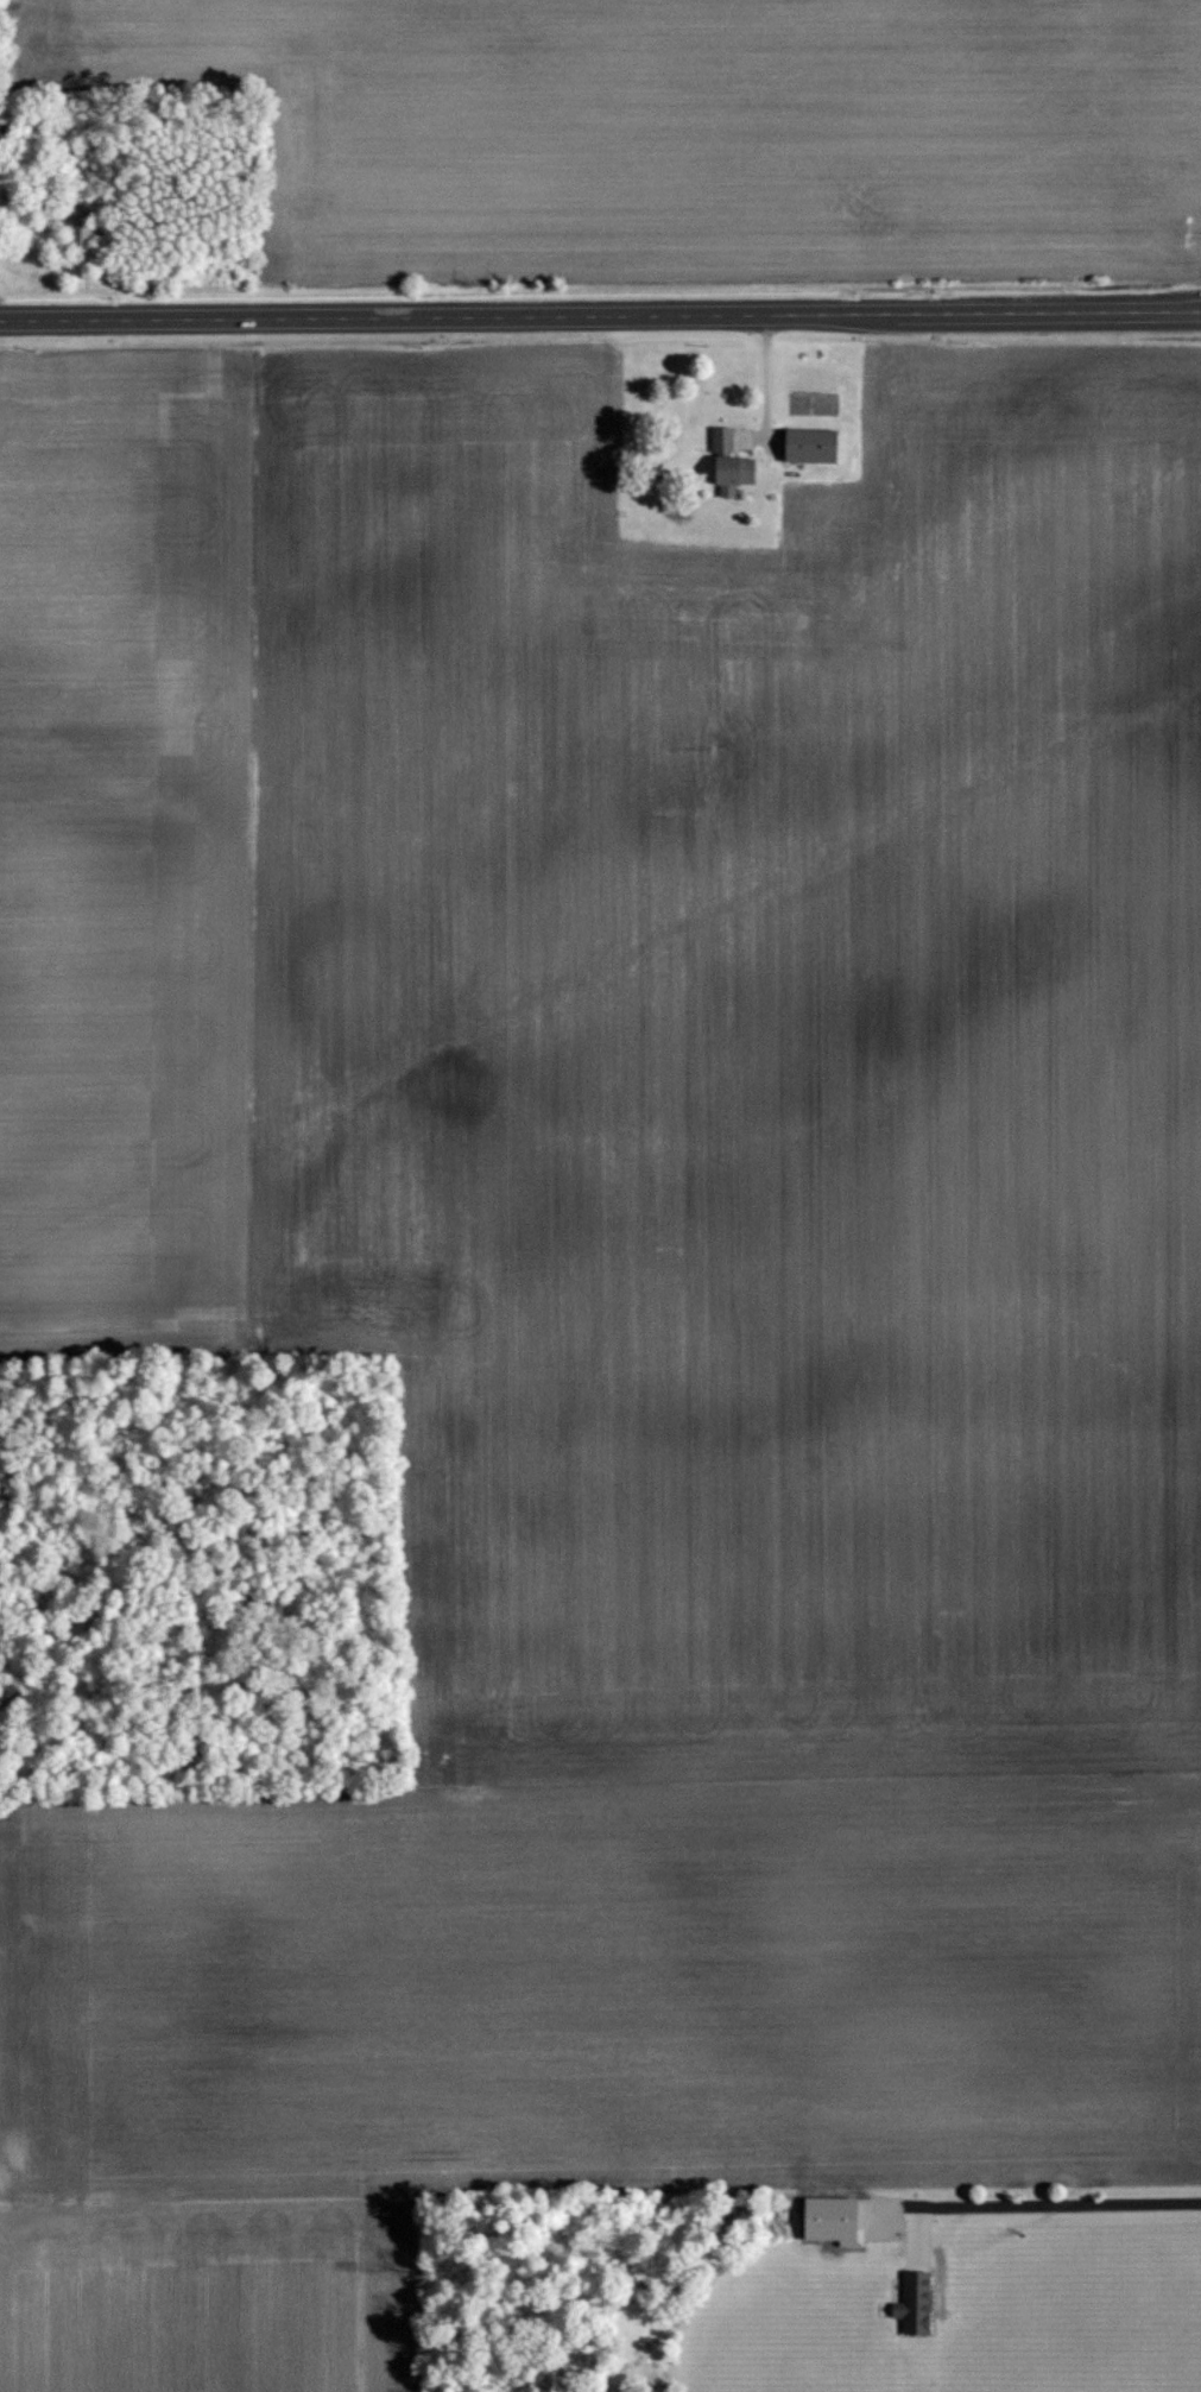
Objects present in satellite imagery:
building: (1, 131)
road: (600, 315)
building: (723, 438)
building: (814, 444)
building: (737, 473)
building: (917, 2302)

